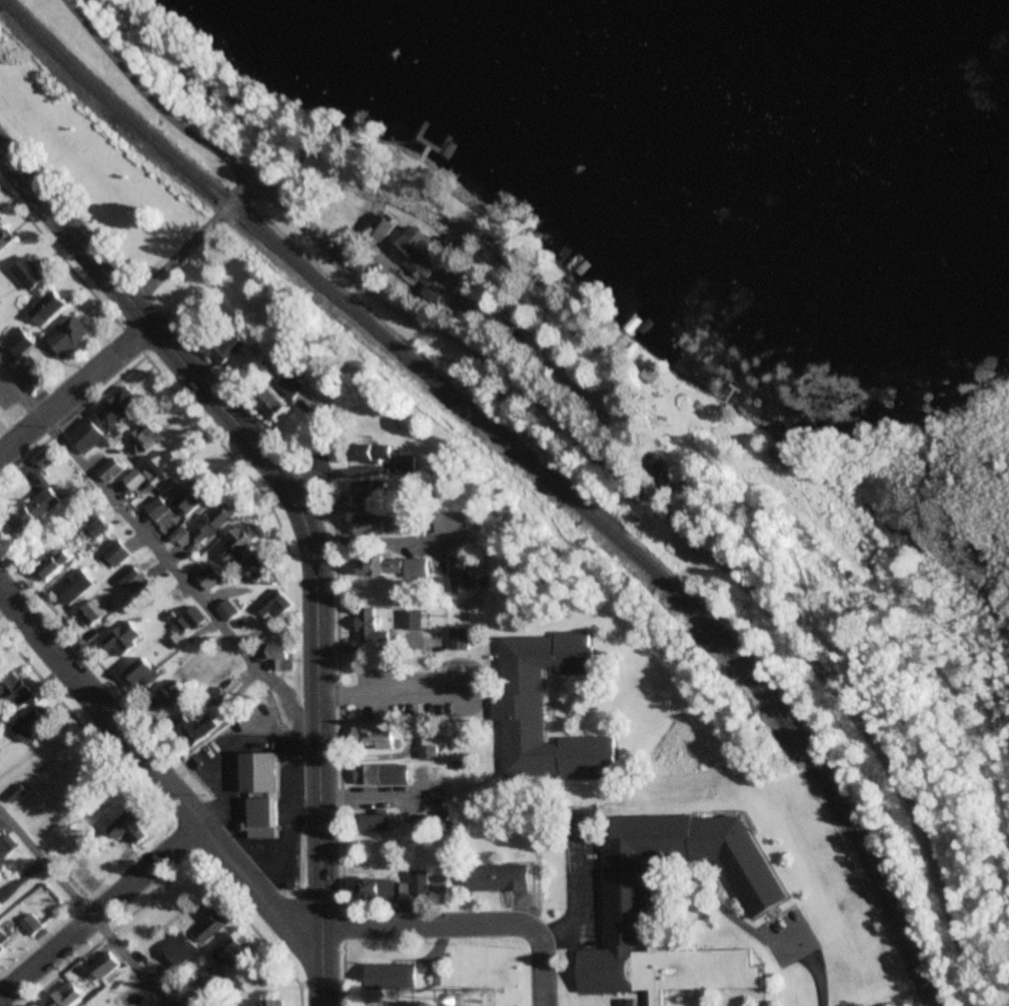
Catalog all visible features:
park: (170, 80)
park: (94, 165)
building: (0, 222)
building: (6, 238)
road: (190, 240)
building: (417, 251)
building: (30, 273)
railway: (331, 292)
building: (49, 307)
building: (70, 335)
building: (19, 342)
building: (230, 347)
road: (172, 352)
building: (34, 381)
road: (169, 384)
road: (75, 388)
building: (283, 393)
building: (122, 409)
building: (88, 436)
building: (149, 441)
road: (590, 446)
building: (376, 451)
building: (776, 463)
building: (113, 469)
building: (162, 470)
building: (370, 492)
building: (196, 496)
building: (41, 507)
building: (147, 516)
building: (95, 522)
building: (216, 522)
building: (384, 523)
building: (238, 545)
road: (154, 551)
building: (118, 552)
building: (54, 562)
building: (396, 566)
building: (261, 567)
building: (464, 572)
building: (130, 575)
building: (212, 577)
building: (77, 586)
building: (112, 596)
building: (276, 606)
building: (230, 611)
building: (93, 615)
building: (414, 619)
building: (190, 622)
building: (373, 626)
building: (126, 638)
building: (461, 638)
building: (284, 657)
building: (144, 674)
road: (472, 674)
building: (17, 688)
building: (169, 696)
road: (377, 696)
building: (519, 705)
building: (36, 724)
building: (200, 726)
building: (375, 736)
building: (432, 746)
road: (152, 769)
building: (420, 772)
building: (384, 773)
railway: (823, 776)
road: (316, 789)
building: (263, 794)
building: (381, 822)
building: (132, 830)
building: (7, 846)
building: (502, 878)
building: (429, 888)
building: (378, 890)
building: (1, 908)
road: (80, 912)
building: (627, 912)
road: (101, 914)
building: (215, 923)
building: (33, 924)
road: (463, 925)
building: (5, 940)
building: (182, 949)
building: (233, 952)
building: (109, 965)
building: (395, 976)
building: (70, 996)
building: (273, 1004)
water tower: (489, 1004)

